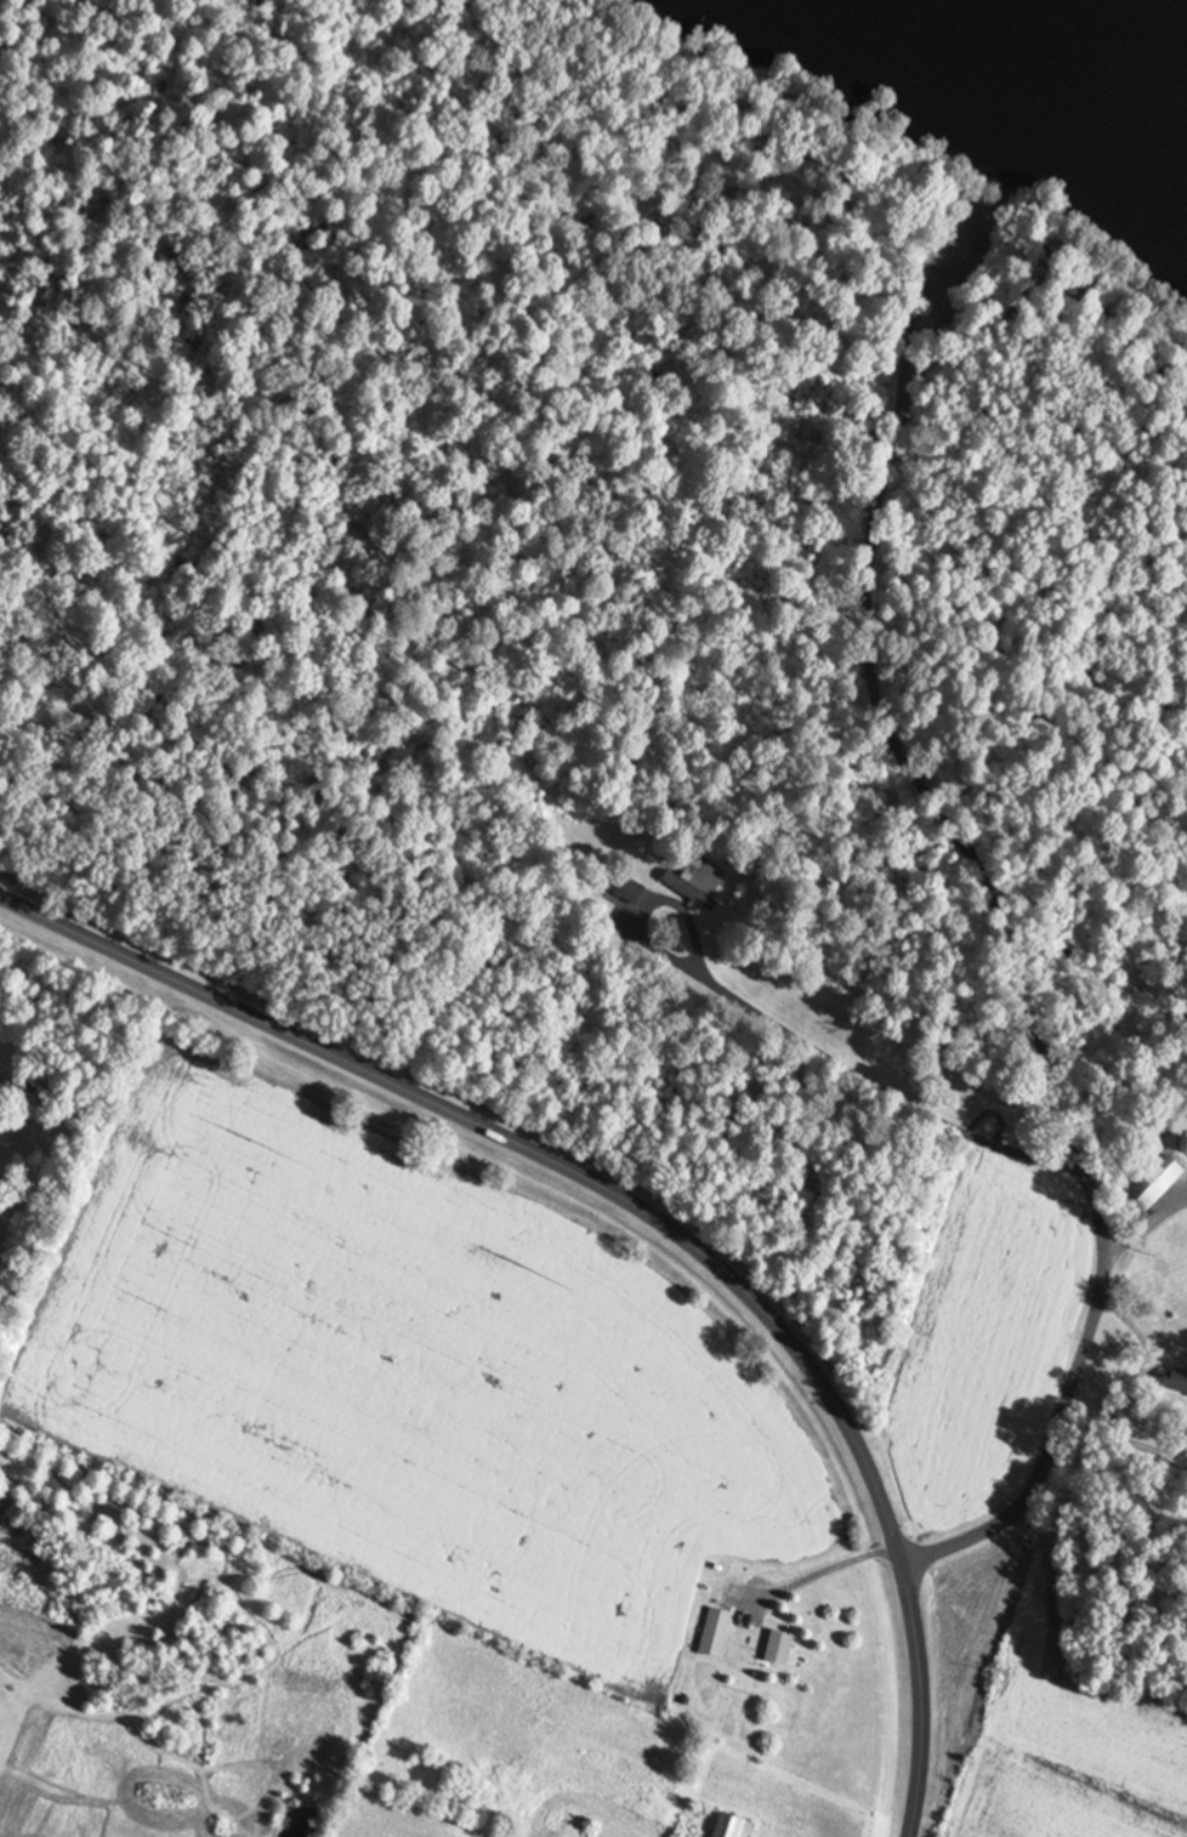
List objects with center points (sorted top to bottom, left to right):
road: (941, 265)
road: (884, 997)
road: (1027, 999)
road: (527, 1144)
road: (922, 1699)

